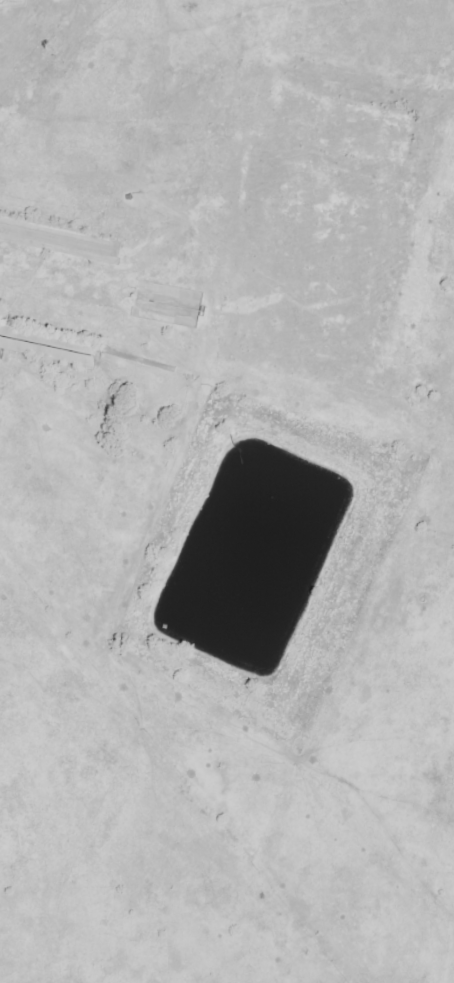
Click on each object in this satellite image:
building: (55, 240)
building: (45, 342)

